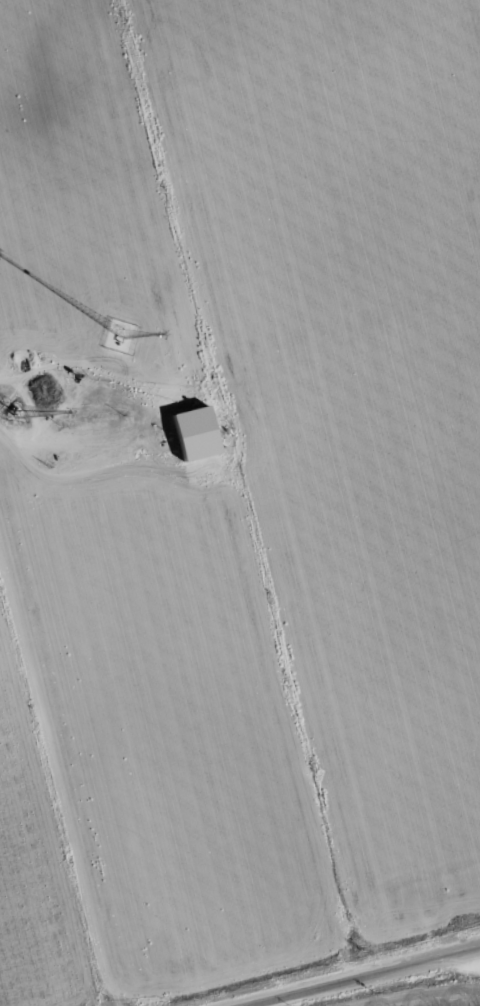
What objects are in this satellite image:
building: (194, 431)
road: (362, 976)

